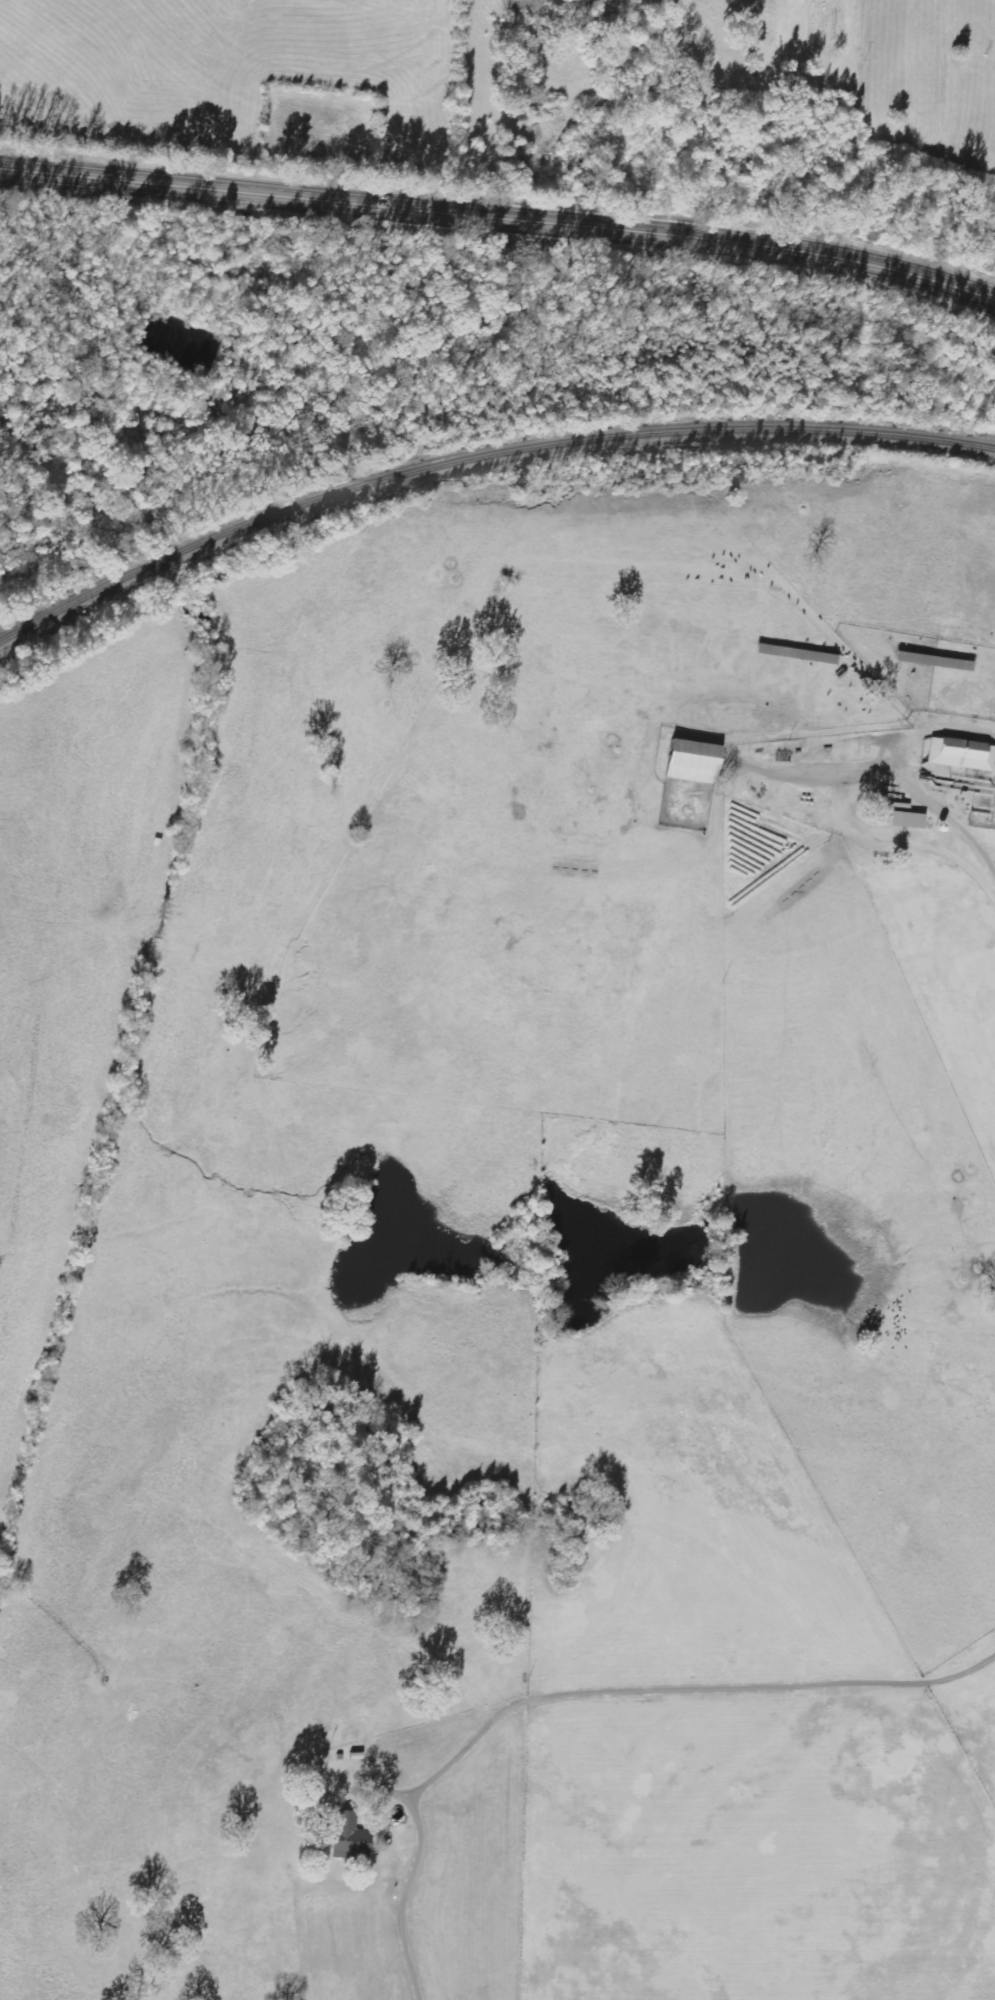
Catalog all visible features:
road: (501, 213)
railway: (480, 455)
building: (796, 654)
building: (932, 661)
building: (961, 754)
building: (689, 762)
road: (891, 769)
building: (903, 819)
building: (348, 1838)

